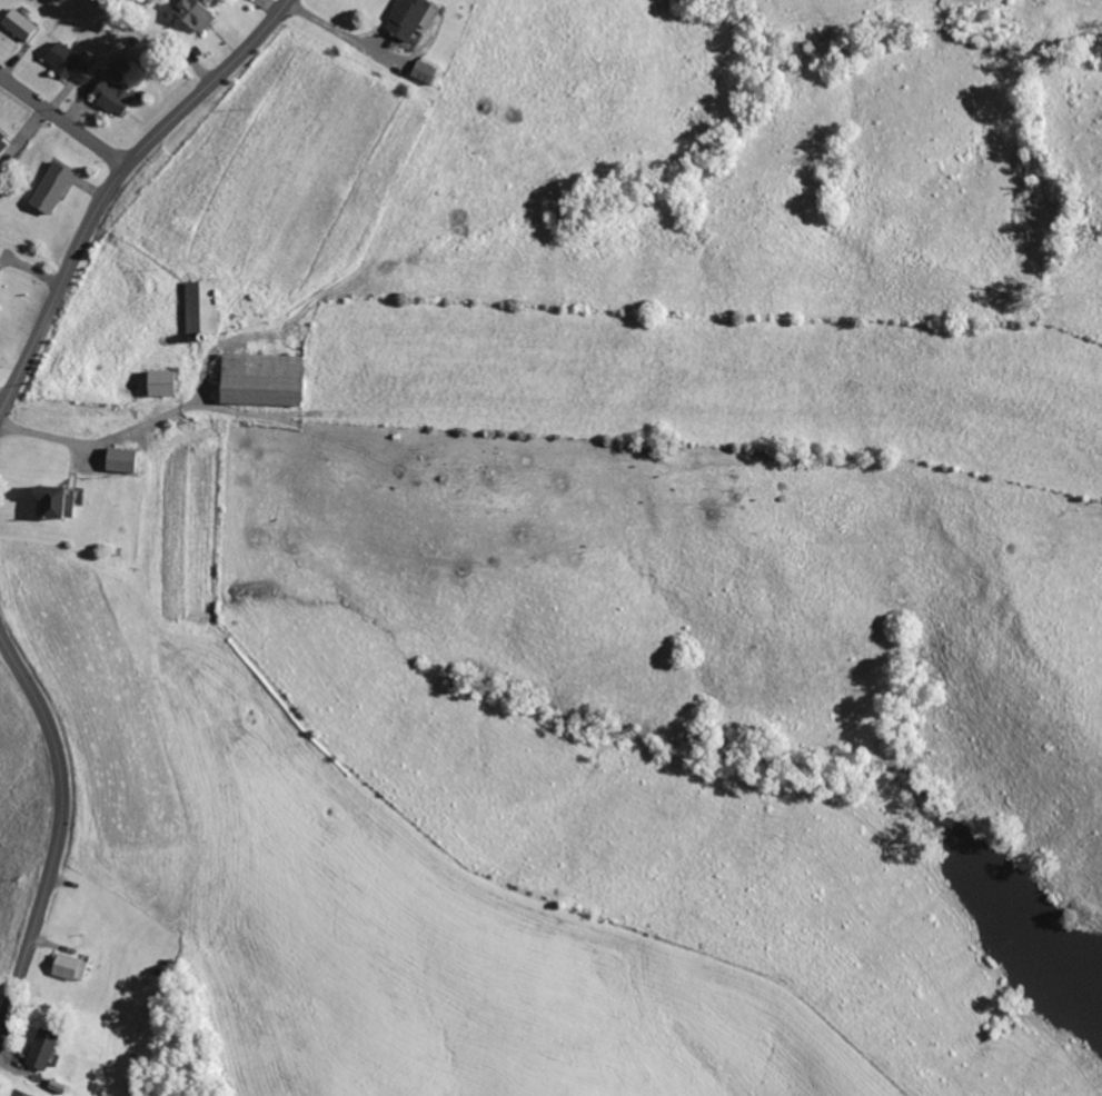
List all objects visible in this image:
building: (190, 14)
building: (406, 17)
building: (14, 23)
building: (58, 58)
building: (423, 71)
building: (107, 96)
road: (61, 119)
building: (1, 141)
road: (110, 180)
building: (47, 187)
building: (198, 307)
road: (570, 337)
building: (257, 379)
building: (158, 382)
building: (118, 460)
building: (43, 500)
road: (54, 831)
building: (67, 966)
building: (38, 1049)
building: (17, 1093)

